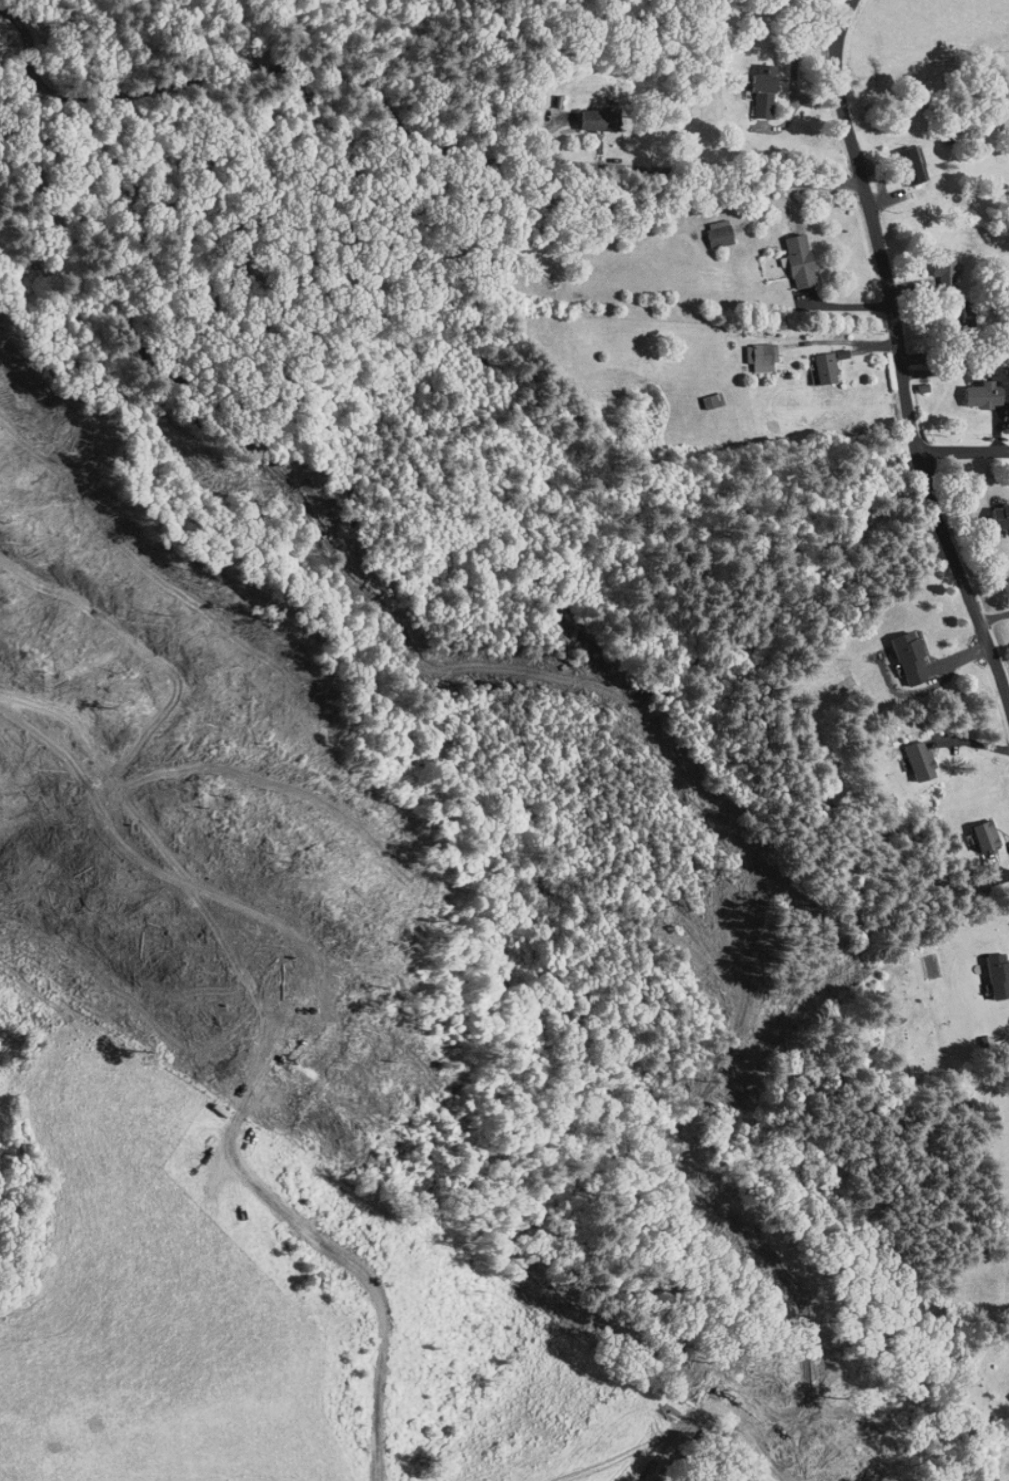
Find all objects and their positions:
road: (397, 122)
road: (900, 356)
road: (962, 453)

